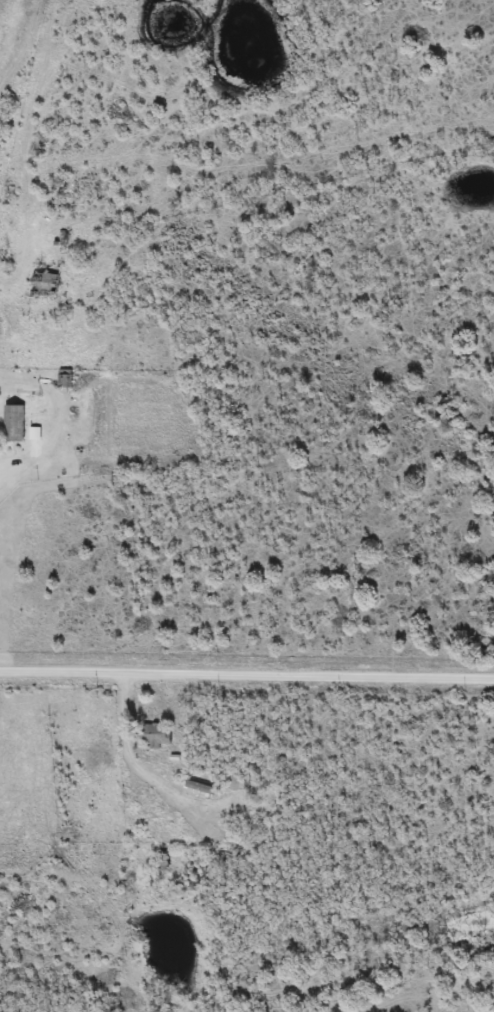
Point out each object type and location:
building: (42, 286)
building: (14, 423)
road: (246, 675)
building: (156, 735)
building: (239, 783)
building: (203, 789)

